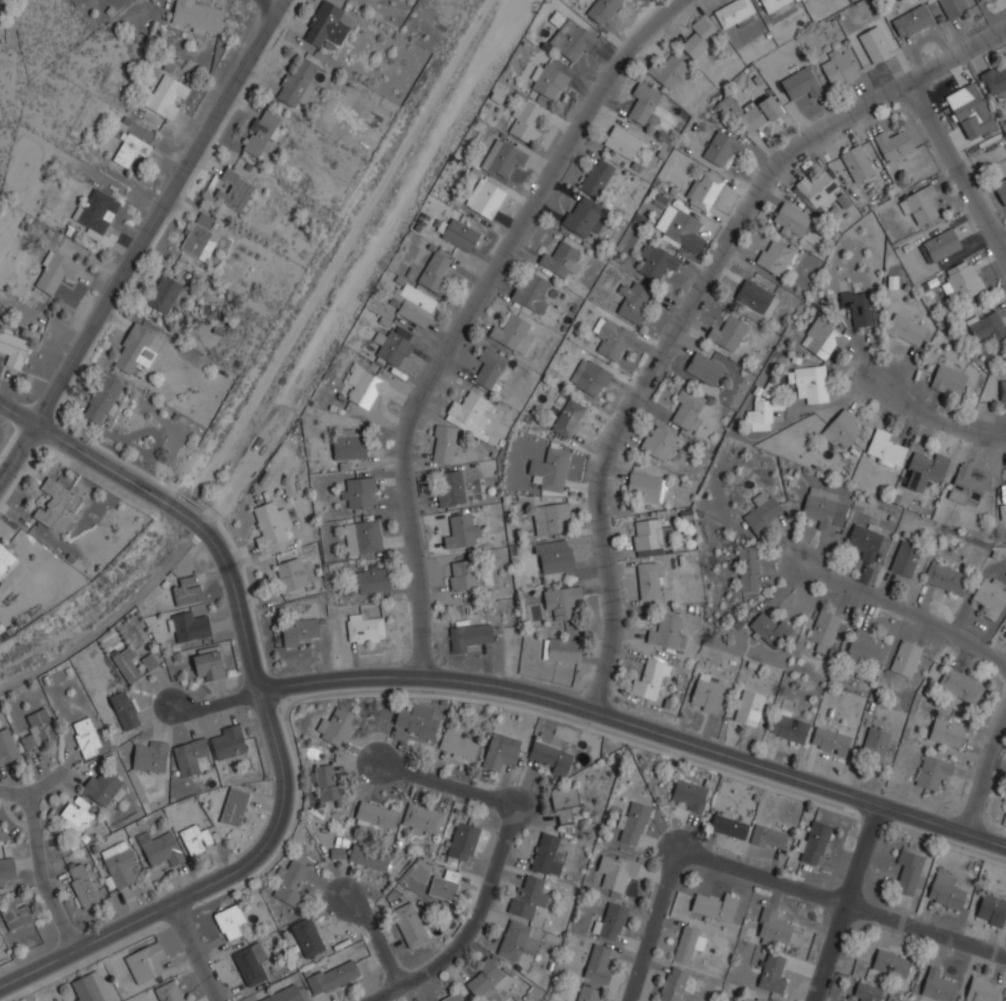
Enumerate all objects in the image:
building: (980, 0)
road: (274, 3)
building: (775, 3)
building: (955, 7)
building: (603, 10)
building: (736, 13)
building: (198, 17)
building: (913, 20)
building: (329, 25)
building: (701, 36)
building: (573, 39)
building: (876, 44)
building: (840, 67)
building: (669, 70)
building: (551, 78)
building: (299, 80)
building: (996, 82)
building: (802, 83)
building: (167, 96)
building: (644, 102)
building: (974, 109)
building: (754, 112)
building: (527, 120)
building: (261, 133)
building: (625, 142)
building: (895, 145)
building: (722, 147)
building: (131, 150)
building: (504, 158)
building: (858, 163)
road: (955, 175)
building: (598, 177)
building: (235, 190)
building: (1001, 190)
building: (705, 191)
building: (819, 191)
building: (486, 198)
building: (920, 204)
building: (97, 212)
building: (583, 216)
building: (794, 220)
building: (681, 228)
building: (461, 235)
building: (201, 236)
road: (142, 240)
building: (942, 245)
road: (1001, 248)
building: (777, 256)
building: (561, 259)
building: (657, 260)
building: (436, 270)
building: (57, 271)
building: (963, 280)
building: (532, 291)
building: (167, 294)
building: (754, 295)
building: (634, 300)
building: (416, 304)
road: (693, 305)
building: (860, 307)
road: (469, 311)
building: (989, 327)
building: (907, 330)
building: (730, 331)
building: (514, 334)
building: (614, 338)
building: (824, 338)
building: (394, 347)
building: (13, 348)
building: (138, 348)
building: (490, 367)
building: (705, 368)
building: (592, 377)
building: (950, 380)
building: (811, 383)
building: (366, 387)
building: (1003, 394)
building: (103, 398)
building: (689, 410)
road: (941, 410)
building: (469, 411)
building: (760, 415)
building: (569, 418)
building: (843, 429)
building: (660, 442)
building: (444, 443)
building: (350, 445)
building: (886, 449)
road: (84, 452)
building: (554, 469)
building: (926, 470)
building: (647, 487)
building: (966, 487)
building: (451, 488)
building: (359, 492)
building: (57, 502)
building: (824, 507)
building: (764, 512)
road: (184, 513)
building: (551, 517)
building: (272, 524)
building: (464, 531)
building: (650, 534)
building: (367, 537)
building: (867, 542)
building: (555, 556)
building: (5, 559)
building: (906, 559)
building: (749, 569)
building: (291, 574)
building: (464, 574)
building: (947, 578)
building: (375, 580)
building: (650, 580)
building: (188, 591)
building: (992, 597)
building: (562, 601)
road: (906, 608)
building: (190, 626)
building: (366, 628)
building: (770, 628)
building: (826, 630)
building: (301, 631)
building: (668, 633)
building: (1005, 634)
building: (470, 636)
building: (866, 645)
building: (563, 650)
building: (907, 658)
building: (150, 661)
building: (210, 663)
building: (128, 664)
building: (650, 680)
building: (961, 685)
building: (708, 695)
road: (214, 702)
building: (751, 708)
building: (125, 710)
building: (417, 721)
road: (637, 723)
building: (790, 726)
building: (337, 727)
building: (39, 729)
building: (948, 733)
building: (89, 738)
building: (830, 740)
building: (229, 743)
building: (876, 743)
building: (460, 745)
building: (7, 747)
building: (502, 752)
building: (150, 756)
building: (191, 756)
building: (552, 758)
building: (933, 771)
road: (985, 772)
road: (48, 782)
building: (327, 782)
building: (104, 788)
building: (690, 795)
building: (565, 803)
building: (235, 807)
building: (1005, 808)
building: (76, 814)
building: (377, 815)
building: (422, 820)
building: (634, 823)
building: (729, 825)
road: (276, 830)
building: (769, 838)
building: (196, 839)
building: (464, 842)
building: (815, 844)
building: (161, 849)
building: (337, 853)
building: (547, 854)
building: (371, 858)
road: (46, 860)
road: (496, 860)
building: (120, 864)
building: (7, 871)
building: (617, 871)
building: (909, 873)
road: (765, 877)
building: (291, 881)
building: (83, 885)
building: (446, 885)
building: (946, 891)
building: (529, 897)
road: (845, 902)
building: (715, 907)
building: (993, 909)
building: (16, 913)
building: (230, 921)
building: (613, 922)
building: (411, 925)
building: (773, 928)
road: (373, 936)
building: (308, 937)
building: (514, 939)
building: (690, 943)
road: (196, 953)
building: (146, 962)
building: (251, 963)
building: (892, 963)
building: (598, 964)
building: (773, 973)
building: (334, 977)
building: (485, 977)
building: (677, 983)
building: (938, 986)
building: (90, 988)
building: (983, 989)
building: (170, 992)
building: (867, 992)
building: (590, 993)
building: (283, 995)
building: (454, 997)
building: (756, 999)
building: (567, 1000)
building: (571, 1000)
building: (737, 1000)

